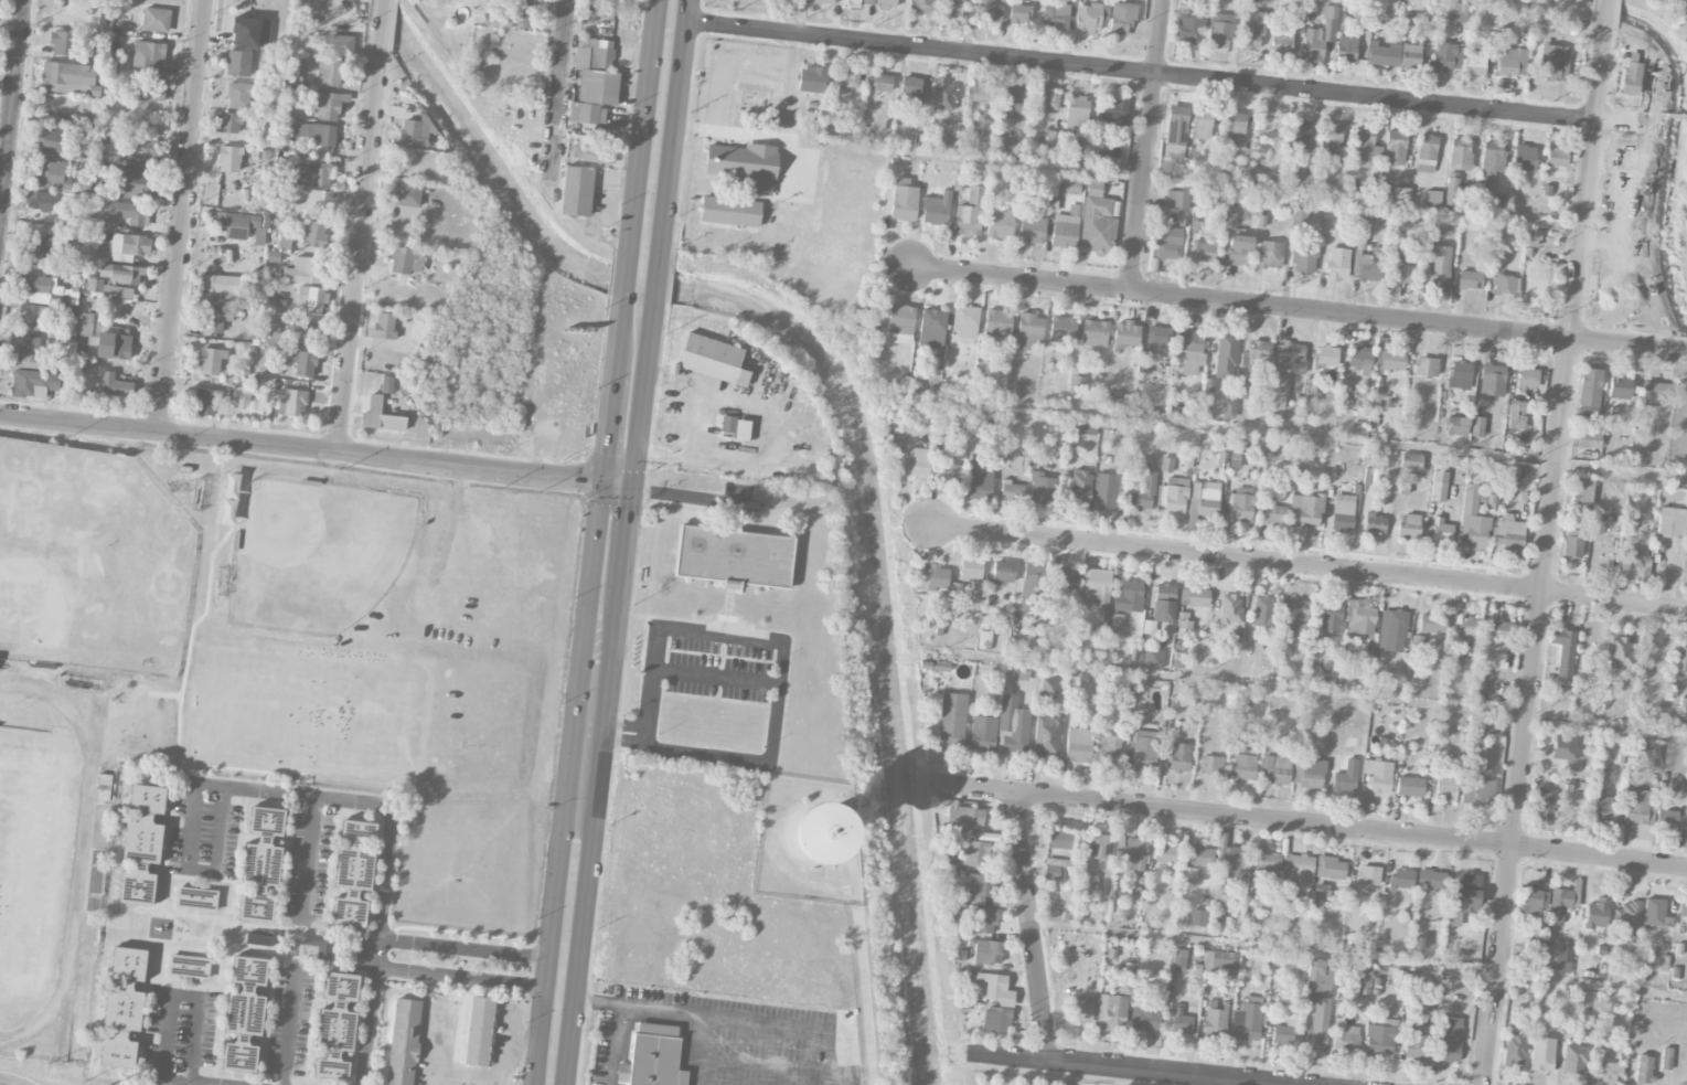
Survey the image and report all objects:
building: (1268, 0)
building: (822, 1)
building: (855, 2)
building: (886, 4)
building: (921, 7)
road: (1666, 8)
building: (951, 9)
road: (1608, 10)
building: (987, 11)
building: (1456, 12)
building: (1019, 14)
building: (1055, 14)
road: (1557, 14)
building: (514, 15)
building: (1090, 18)
building: (1121, 18)
building: (156, 20)
building: (621, 20)
road: (381, 21)
building: (1188, 30)
building: (1251, 30)
building: (1219, 31)
building: (250, 32)
building: (1321, 35)
building: (1282, 39)
building: (63, 43)
building: (331, 44)
building: (1346, 49)
building: (148, 53)
building: (594, 54)
building: (1382, 54)
building: (1411, 54)
building: (1446, 56)
building: (238, 63)
building: (1475, 63)
building: (1513, 63)
building: (1553, 63)
building: (330, 72)
building: (1631, 74)
road: (1171, 75)
building: (70, 78)
building: (845, 78)
building: (812, 79)
building: (878, 83)
building: (597, 87)
building: (911, 88)
building: (150, 89)
road: (558, 91)
building: (979, 93)
building: (238, 95)
building: (943, 95)
building: (1010, 99)
building: (1045, 103)
road: (11, 104)
building: (329, 105)
building: (1077, 111)
building: (1113, 111)
building: (587, 114)
building: (227, 123)
building: (1202, 124)
building: (1235, 128)
building: (413, 134)
building: (1299, 134)
building: (1332, 134)
building: (323, 136)
building: (1176, 136)
building: (50, 140)
building: (136, 143)
road: (1147, 146)
building: (1395, 147)
building: (1366, 148)
building: (109, 150)
building: (1087, 151)
building: (1103, 152)
building: (1426, 153)
building: (592, 155)
building: (1342, 155)
building: (1460, 155)
building: (1524, 158)
building: (1556, 158)
building: (229, 159)
building: (745, 166)
building: (310, 172)
building: (53, 174)
road: (1132, 178)
building: (1491, 178)
building: (135, 184)
building: (1069, 185)
road: (636, 189)
building: (576, 191)
building: (1451, 192)
building: (406, 195)
building: (1396, 195)
building: (1432, 198)
building: (904, 200)
building: (1177, 200)
building: (40, 201)
building: (319, 203)
building: (937, 209)
building: (128, 212)
building: (730, 212)
building: (970, 213)
road: (180, 216)
building: (1230, 216)
building: (1299, 221)
building: (1001, 222)
building: (1099, 223)
building: (237, 224)
building: (1334, 226)
building: (1437, 226)
building: (1032, 230)
building: (1064, 231)
building: (313, 235)
building: (1170, 243)
road: (661, 244)
building: (129, 247)
road: (357, 247)
building: (1238, 247)
building: (41, 249)
building: (1204, 252)
building: (1269, 254)
building: (406, 260)
building: (1304, 260)
building: (1337, 264)
building: (1437, 266)
building: (1369, 267)
building: (302, 270)
building: (1403, 274)
building: (121, 275)
road: (1021, 280)
building: (1470, 280)
building: (1538, 280)
building: (1504, 285)
building: (220, 289)
building: (42, 290)
building: (117, 291)
building: (1390, 291)
building: (314, 296)
road: (1350, 315)
building: (30, 319)
building: (214, 319)
building: (965, 321)
building: (900, 325)
building: (999, 325)
building: (384, 326)
building: (932, 329)
building: (1029, 330)
building: (1063, 330)
building: (302, 333)
building: (1095, 333)
building: (1127, 334)
building: (1157, 336)
road: (1621, 342)
road: (1679, 348)
building: (1189, 350)
building: (29, 352)
building: (1226, 355)
building: (1254, 355)
building: (1326, 355)
building: (211, 360)
building: (713, 360)
building: (1362, 360)
building: (1390, 360)
building: (305, 364)
building: (1286, 364)
building: (1426, 366)
building: (1459, 374)
building: (1527, 376)
building: (1492, 380)
building: (32, 382)
building: (387, 384)
building: (115, 385)
building: (1620, 387)
building: (1589, 393)
building: (1654, 393)
building: (241, 397)
building: (1112, 401)
building: (206, 402)
building: (1278, 402)
building: (291, 403)
building: (1228, 408)
building: (1517, 408)
building: (380, 416)
building: (1456, 426)
building: (1476, 426)
building: (736, 428)
road: (608, 430)
road: (1295, 434)
building: (1589, 440)
road: (301, 448)
building: (1234, 460)
building: (918, 461)
building: (1410, 461)
building: (1018, 464)
building: (1166, 465)
building: (949, 471)
building: (1509, 472)
building: (981, 480)
traffic signals: (602, 483)
road: (617, 486)
building: (1079, 486)
traffic signals: (632, 488)
building: (1042, 489)
building: (1438, 491)
building: (1582, 491)
building: (1011, 492)
building: (1104, 492)
building: (1141, 494)
building: (1172, 496)
building: (1242, 503)
building: (1306, 511)
building: (1343, 512)
building: (1274, 514)
building: (228, 517)
building: (1472, 519)
building: (1672, 522)
building: (1374, 523)
building: (1408, 526)
building: (1440, 531)
building: (1509, 532)
building: (1572, 543)
road: (1546, 552)
building: (734, 557)
building: (1633, 559)
park: (89, 562)
road: (1307, 564)
building: (971, 567)
road: (591, 570)
building: (1003, 572)
road: (621, 574)
building: (931, 577)
building: (1066, 578)
building: (1033, 588)
building: (1096, 593)
building: (973, 595)
building: (1129, 597)
building: (1198, 597)
building: (1164, 603)
building: (1230, 608)
building: (1263, 610)
building: (1294, 617)
building: (1331, 617)
building: (1359, 618)
building: (1184, 620)
building: (1432, 623)
building: (1469, 627)
building: (1391, 630)
building: (1497, 635)
building: (984, 640)
building: (1078, 641)
building: (1563, 652)
building: (1620, 652)
road: (783, 655)
building: (1151, 659)
building: (1680, 659)
road: (717, 677)
building: (1079, 679)
building: (1478, 687)
building: (1049, 688)
road: (1304, 690)
building: (951, 721)
building: (1485, 724)
building: (1012, 726)
road: (589, 733)
building: (982, 733)
road: (648, 734)
building: (1047, 737)
building: (1079, 745)
building: (1565, 747)
building: (1109, 751)
building: (1144, 751)
building: (1647, 754)
building: (1179, 757)
building: (1211, 765)
building: (1242, 767)
building: (1278, 769)
building: (1309, 773)
building: (1378, 776)
building: (1345, 777)
building: (1410, 786)
road: (265, 789)
building: (1445, 789)
building: (1477, 791)
building: (147, 799)
building: (1602, 804)
building: (1544, 805)
building: (1637, 808)
track: (86, 810)
building: (1666, 818)
building: (969, 820)
building: (266, 821)
road: (1310, 823)
building: (1686, 828)
water tower: (818, 831)
building: (1059, 839)
building: (142, 840)
building: (1099, 845)
building: (1167, 852)
building: (972, 853)
building: (1134, 854)
road: (308, 855)
building: (1202, 855)
building: (355, 857)
building: (261, 863)
building: (1231, 866)
park: (29, 868)
building: (1056, 868)
building: (1266, 868)
building: (1331, 868)
building: (1299, 871)
power tower: (343, 875)
building: (1368, 875)
building: (1401, 879)
building: (1431, 880)
building: (1088, 883)
building: (137, 885)
building: (980, 887)
building: (1466, 893)
building: (196, 898)
building: (1533, 900)
building: (1559, 904)
building: (256, 905)
building: (349, 911)
building: (1217, 912)
building: (1653, 912)
building: (1683, 912)
building: (1627, 913)
building: (1597, 914)
building: (1197, 917)
building: (985, 921)
road: (1033, 927)
building: (258, 939)
road: (549, 945)
building: (1518, 946)
road: (581, 947)
building: (314, 949)
building: (989, 953)
road: (1359, 957)
building: (1556, 958)
building: (1179, 960)
building: (1222, 961)
track: (68, 965)
building: (189, 967)
road: (541, 967)
building: (1363, 980)
road: (521, 981)
building: (996, 988)
building: (125, 989)
road: (185, 997)
road: (865, 1000)
building: (1318, 1000)
building: (1081, 1009)
building: (1111, 1013)
building: (244, 1014)
building: (1144, 1014)
road: (735, 1018)
road: (367, 1019)
building: (999, 1020)
building: (1247, 1020)
building: (1177, 1021)
building: (1215, 1023)
building: (335, 1025)
road: (290, 1028)
building: (479, 1031)
building: (1282, 1035)
building: (1381, 1038)
building: (1346, 1039)
building: (1448, 1039)
building: (403, 1042)
building: (1416, 1042)
road: (503, 1043)
road: (613, 1044)
building: (1515, 1047)
road: (705, 1050)
building: (118, 1051)
building: (1542, 1054)
building: (654, 1055)
building: (1666, 1057)
building: (1574, 1060)
road: (777, 1066)
building: (1644, 1068)
road: (1115, 1070)
road: (859, 1072)
building: (1611, 1072)
road: (186, 1082)
road: (7, 1084)

